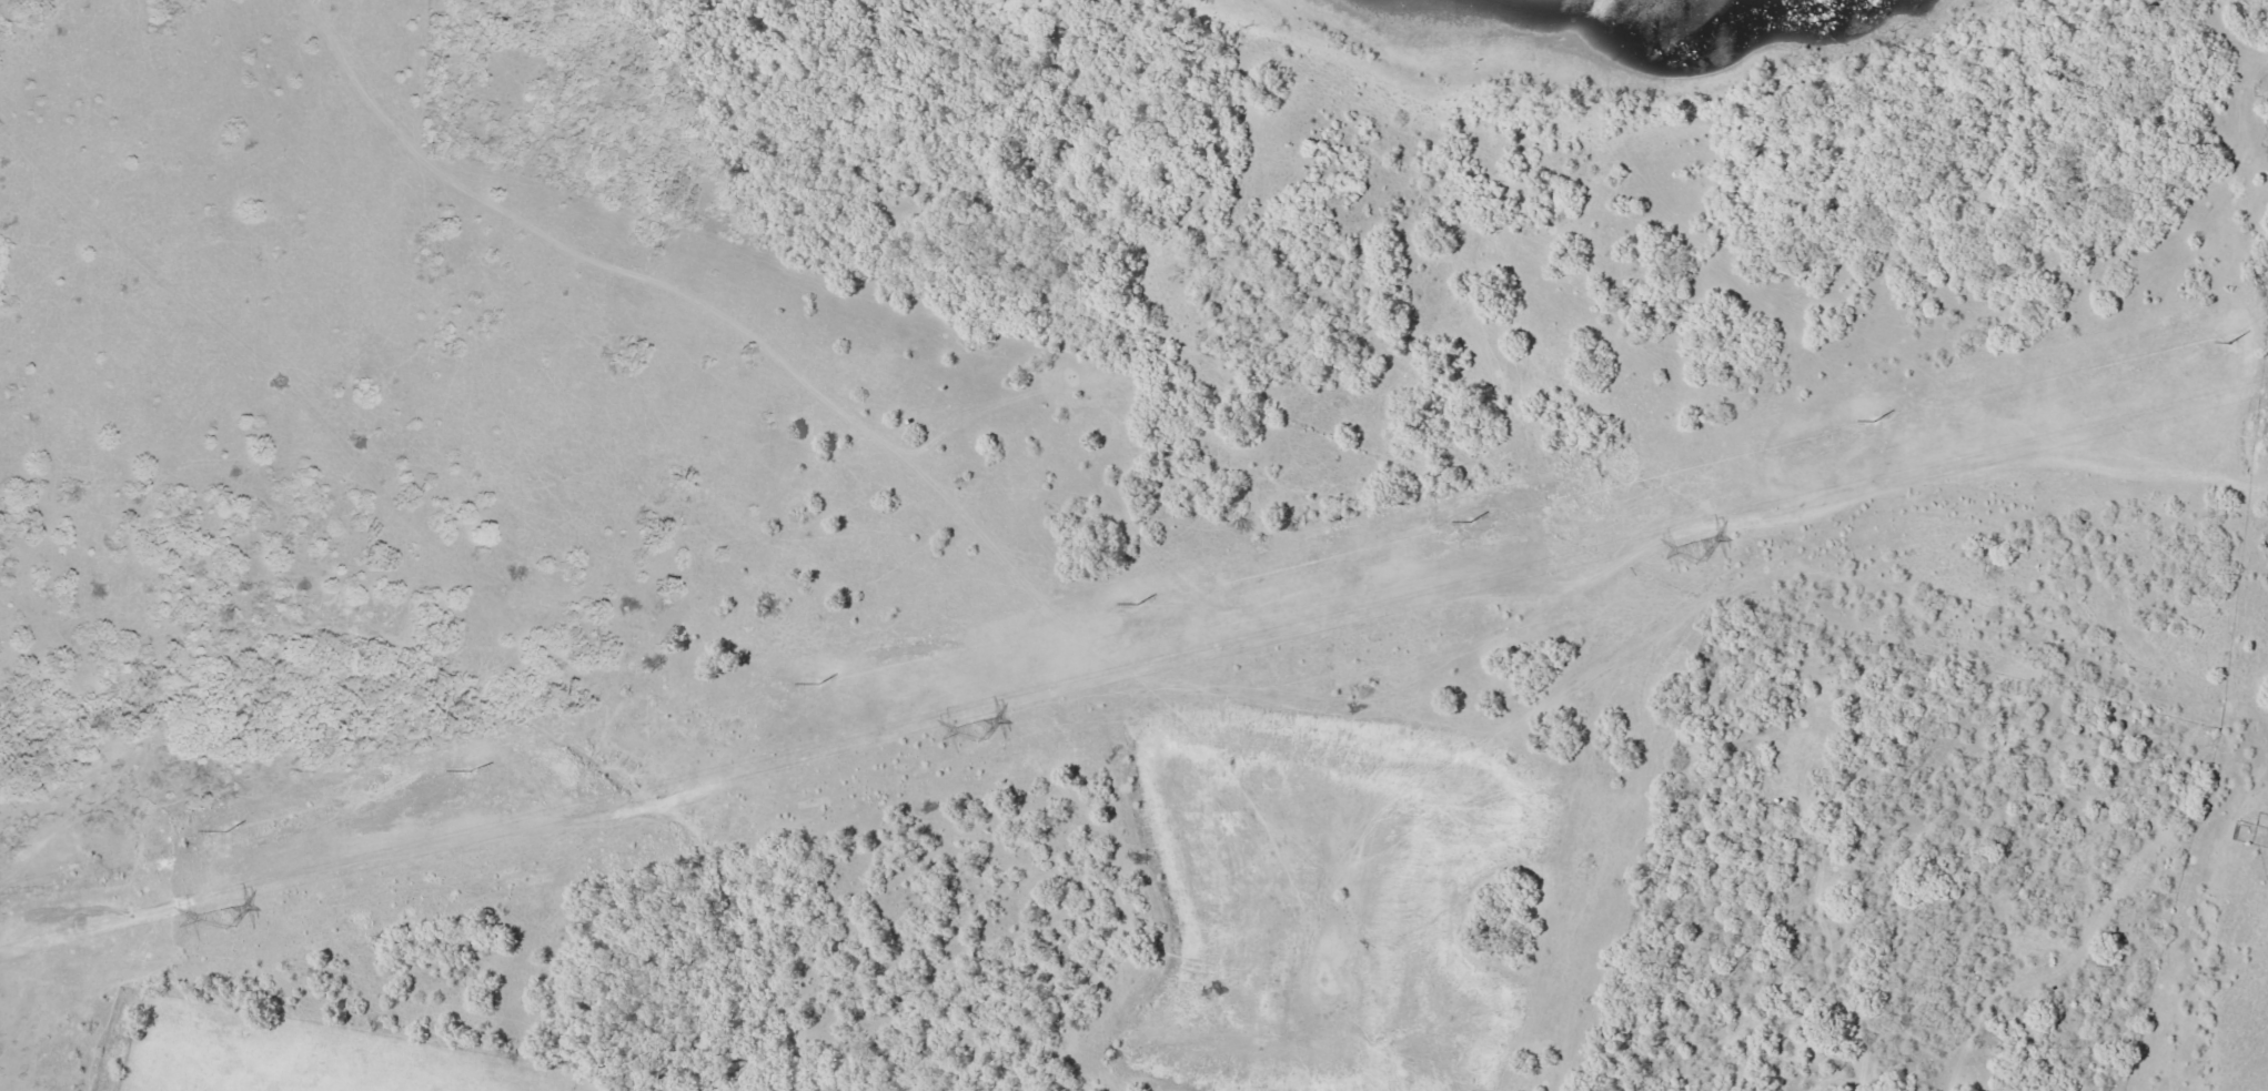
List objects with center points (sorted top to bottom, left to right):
power tower: (1696, 552)
power tower: (977, 730)
power tower: (226, 919)

